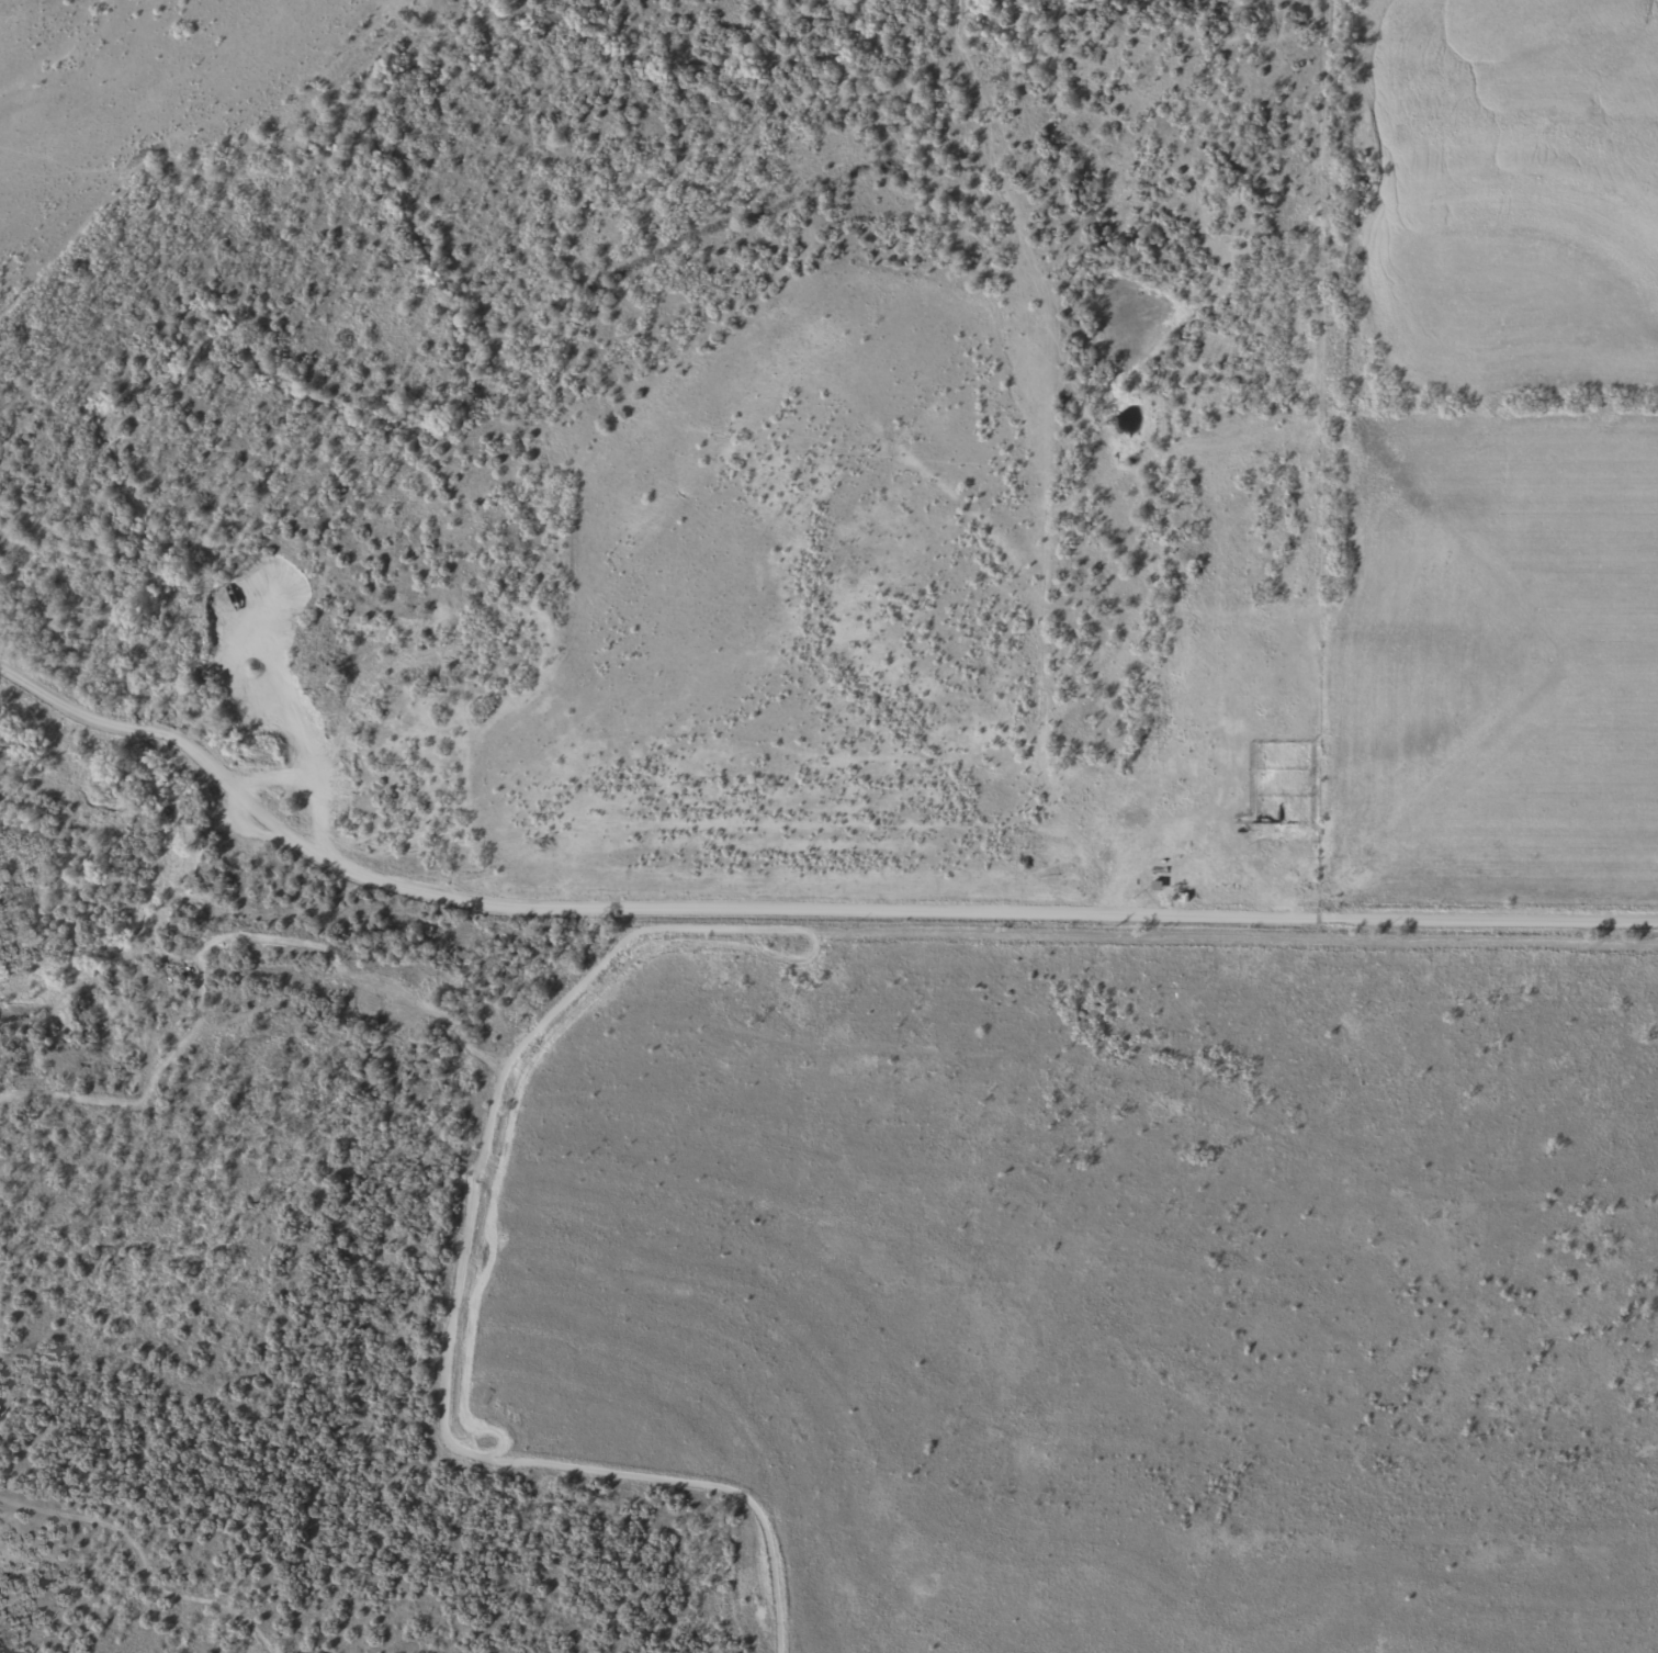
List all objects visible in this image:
road: (68, 698)
road: (877, 903)

